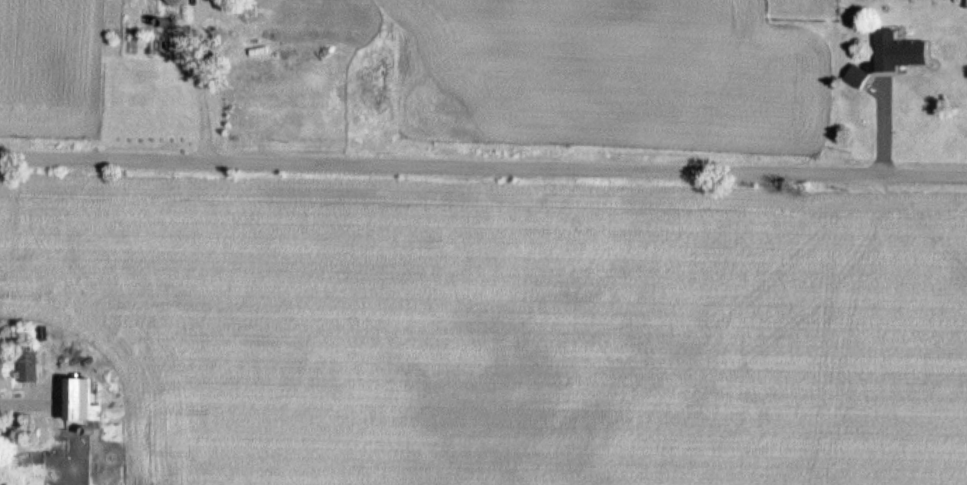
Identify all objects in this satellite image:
building: (908, 53)
road: (885, 124)
road: (483, 166)
building: (32, 365)
building: (86, 397)

